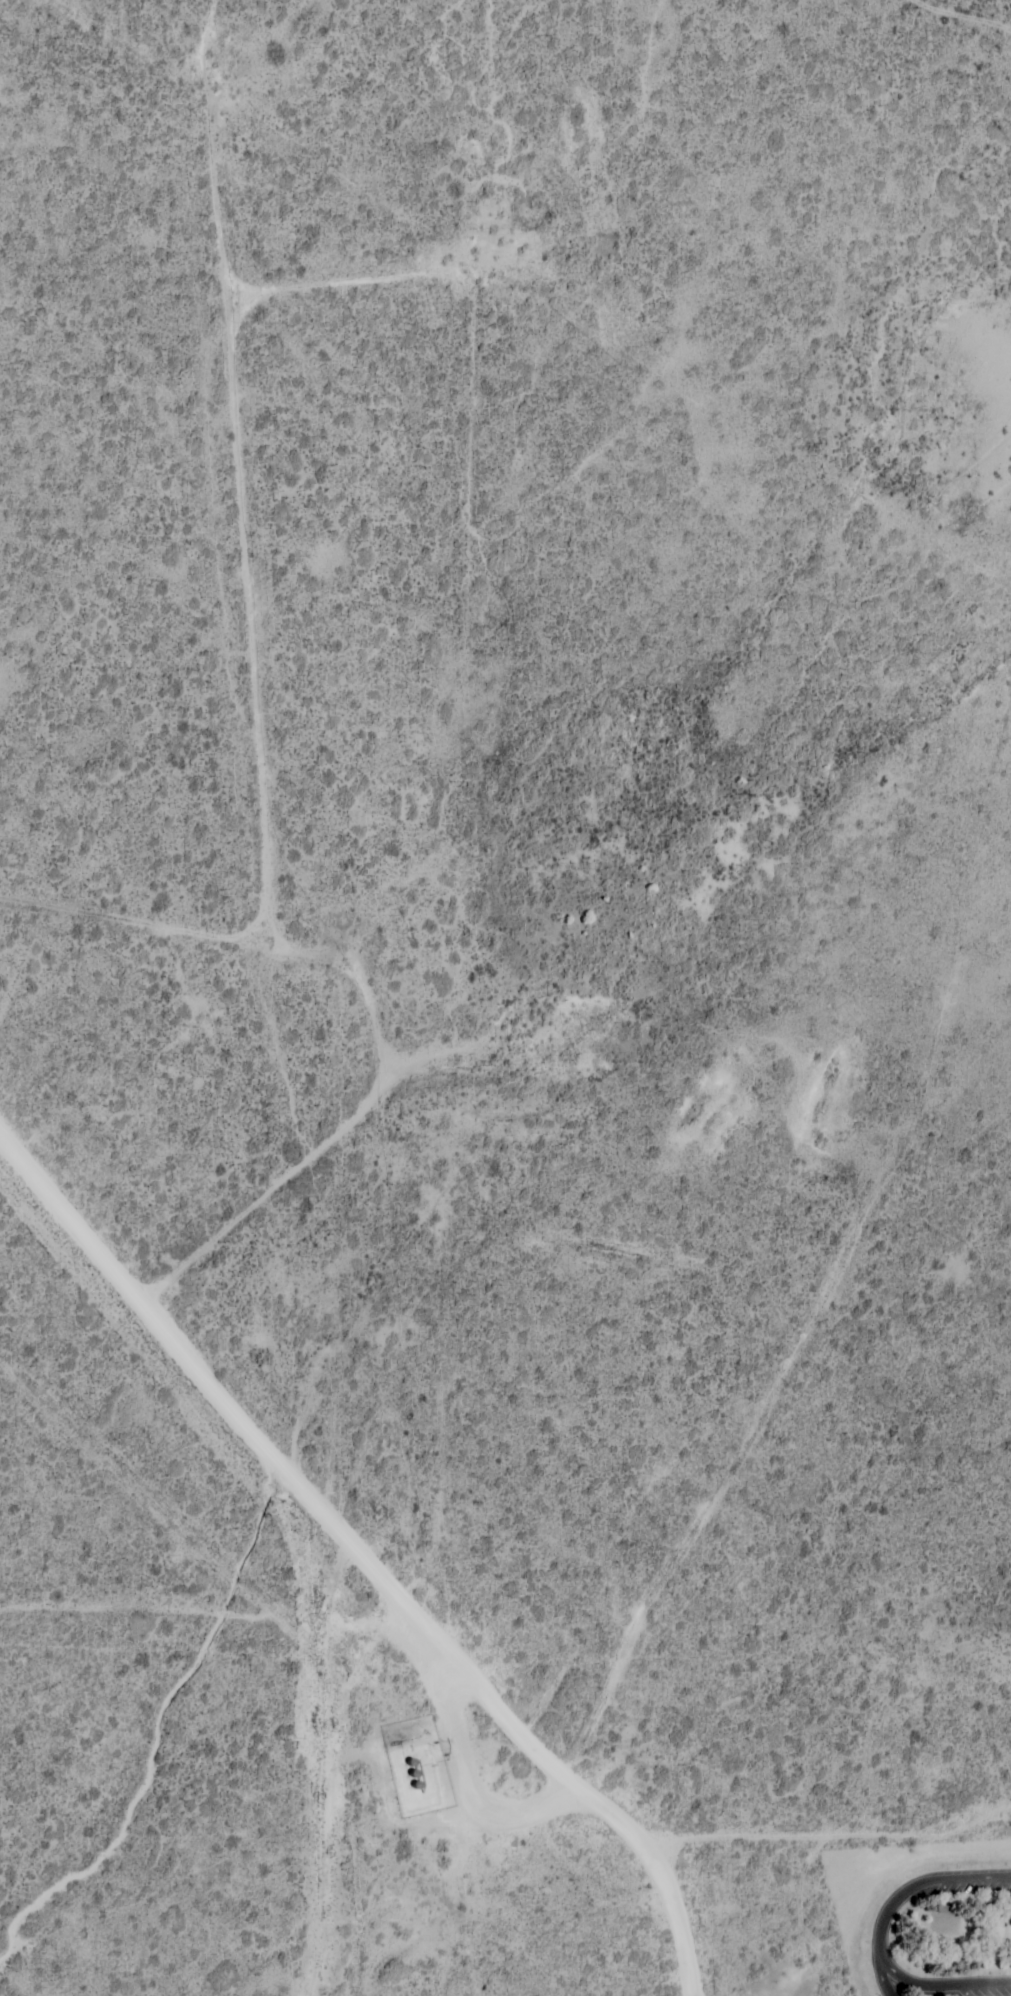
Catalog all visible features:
road: (287, 702)
road: (367, 1556)
road: (811, 1836)
road: (902, 1893)
road: (936, 1985)

